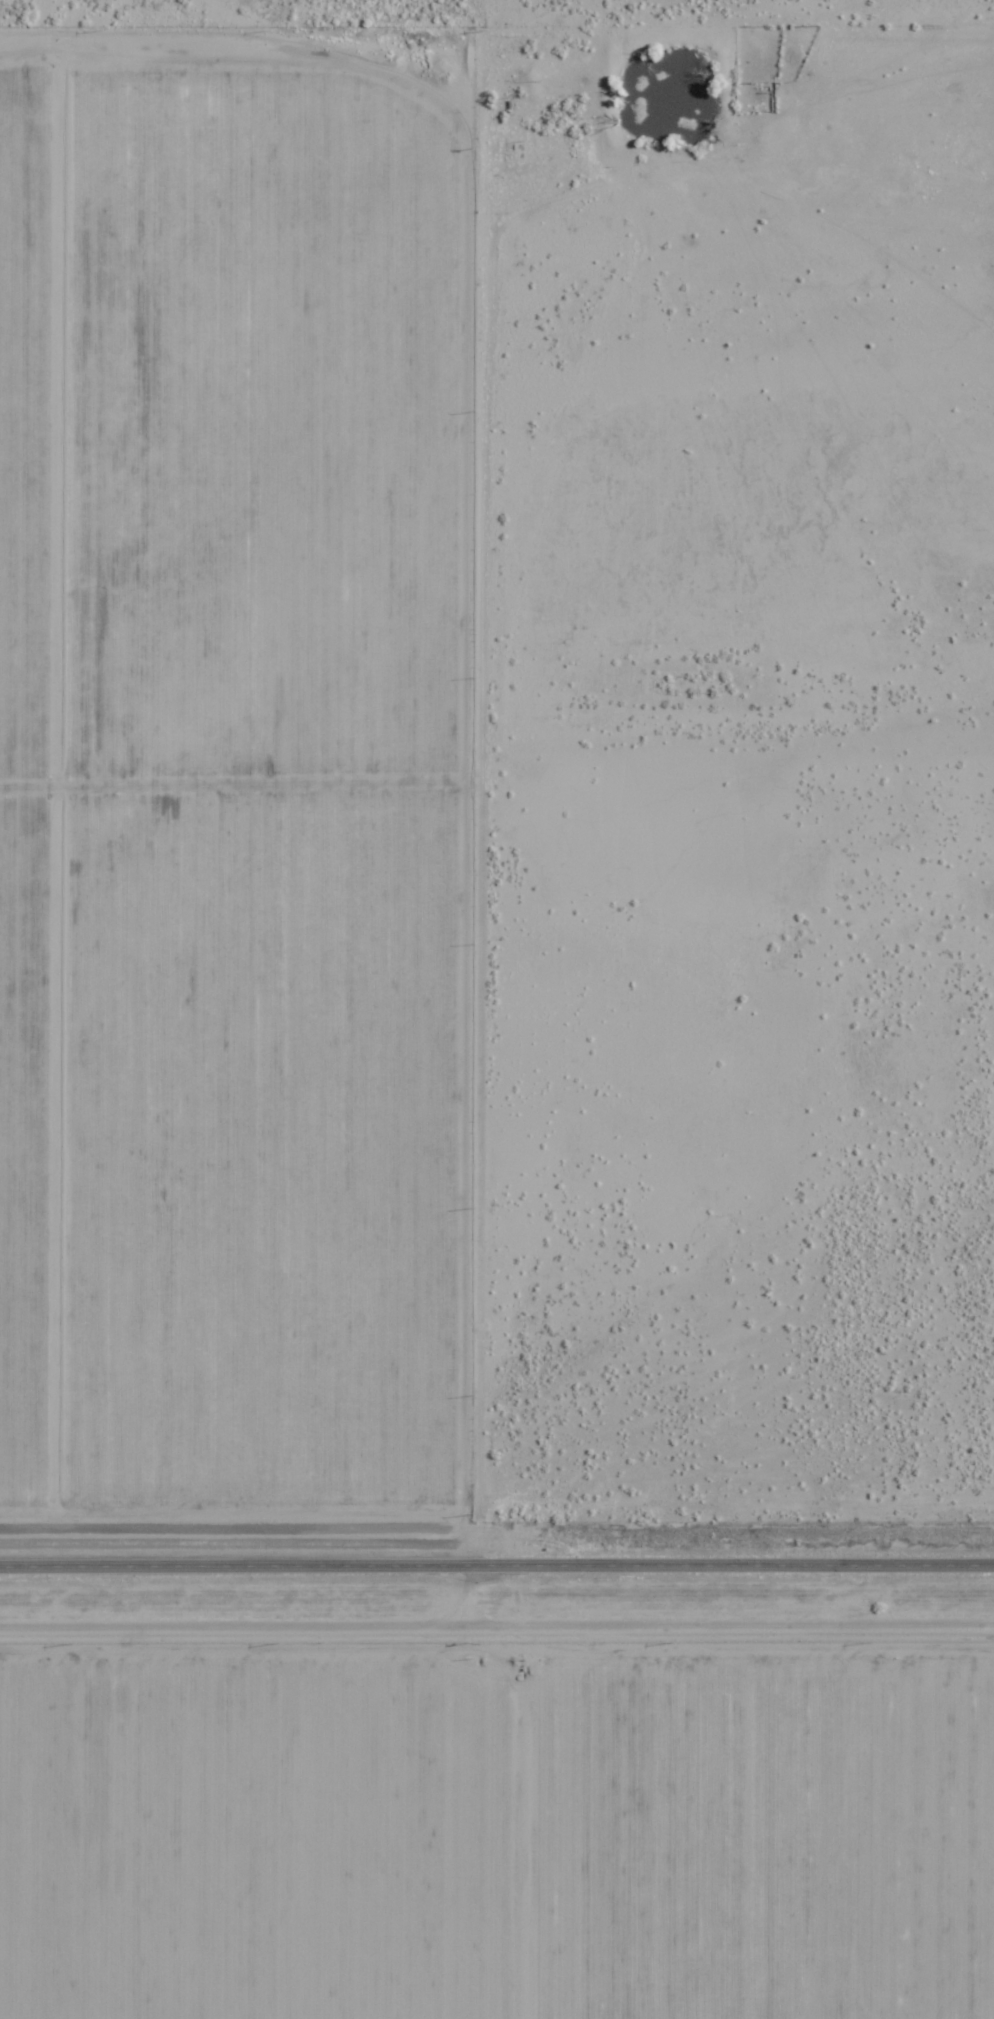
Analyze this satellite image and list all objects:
crop: (24, 420)
crop: (259, 427)
road: (461, 606)
road: (230, 782)
road: (56, 784)
crop: (23, 1147)
crop: (260, 1147)
road: (496, 1565)

